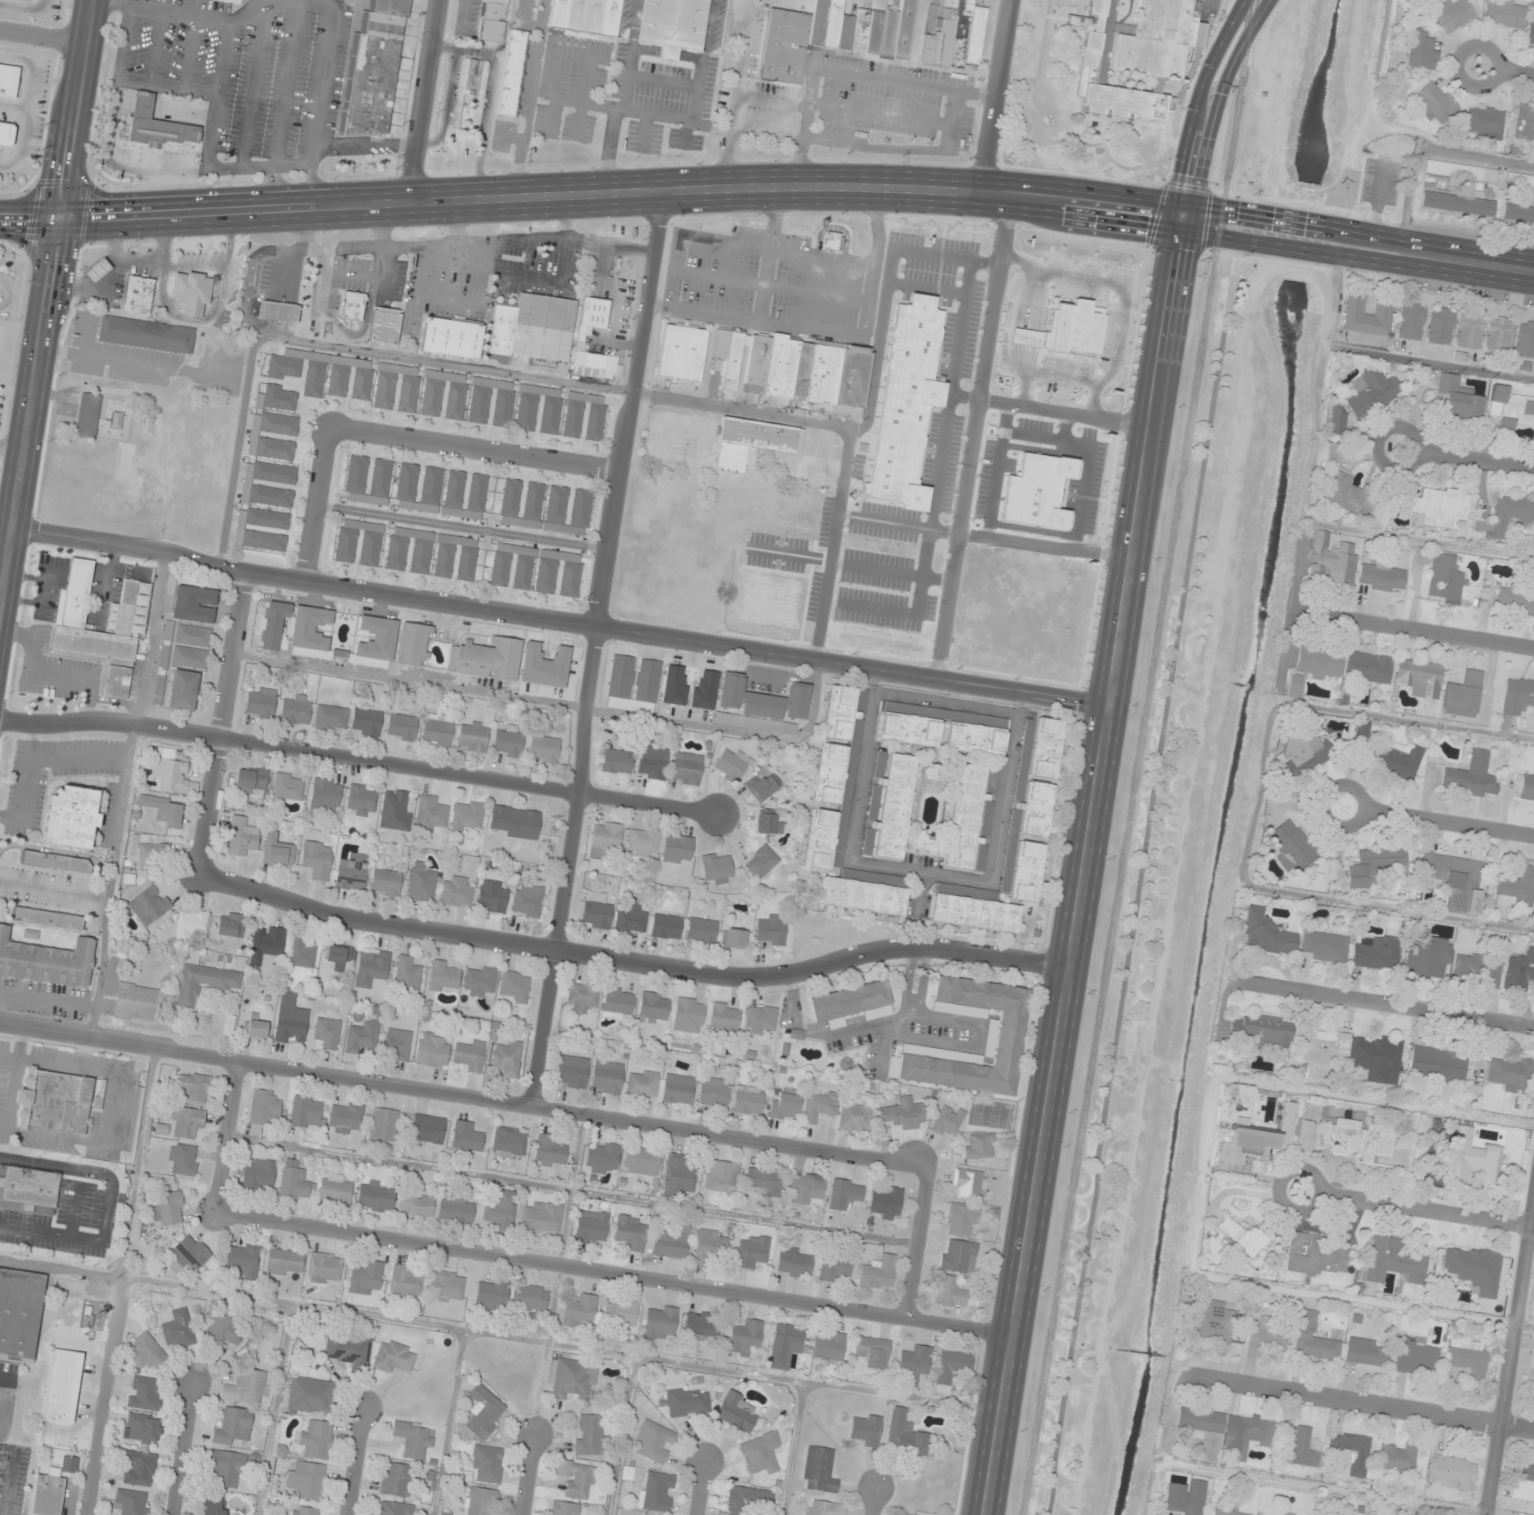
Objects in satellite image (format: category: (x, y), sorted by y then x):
road: (25, 7)
building: (1504, 13)
building: (1453, 14)
building: (586, 16)
building: (492, 21)
building: (674, 26)
building: (973, 32)
building: (1530, 34)
road: (44, 35)
building: (940, 40)
road: (1033, 45)
building: (782, 46)
building: (1422, 51)
building: (1134, 55)
building: (373, 70)
road: (1508, 70)
building: (511, 72)
building: (8, 80)
building: (468, 88)
road: (995, 96)
road: (490, 100)
building: (1435, 102)
road: (426, 103)
road: (444, 103)
road: (14, 105)
road: (28, 105)
building: (1484, 121)
building: (1525, 123)
building: (157, 126)
building: (6, 134)
building: (1461, 171)
building: (1520, 182)
road: (624, 196)
building: (1456, 203)
building: (1517, 213)
traffic signals: (62, 217)
traffic signals: (1182, 217)
road: (1293, 233)
road: (522, 241)
building: (831, 241)
road: (349, 248)
road: (284, 256)
road: (1436, 256)
building: (97, 270)
road: (355, 277)
road: (535, 278)
road: (419, 285)
building: (191, 291)
road: (322, 293)
building: (138, 295)
road: (450, 299)
road: (48, 300)
road: (615, 301)
building: (353, 308)
building: (278, 311)
building: (1367, 320)
building: (1412, 321)
building: (1441, 322)
building: (384, 326)
building: (531, 329)
building: (1470, 330)
building: (146, 334)
building: (1499, 334)
building: (452, 338)
building: (1525, 339)
building: (581, 341)
building: (679, 352)
building: (717, 352)
building: (731, 361)
road: (1430, 361)
building: (756, 363)
building: (774, 364)
building: (788, 368)
building: (801, 371)
building: (821, 373)
building: (324, 374)
building: (849, 378)
building: (397, 388)
building: (1371, 393)
road: (246, 396)
building: (432, 397)
building: (277, 398)
building: (1458, 398)
building: (491, 402)
building: (1511, 408)
building: (538, 409)
building: (88, 415)
building: (584, 416)
building: (1338, 420)
building: (273, 436)
road: (399, 440)
building: (752, 442)
road: (12, 449)
building: (1334, 453)
road: (1459, 457)
building: (271, 473)
building: (368, 480)
building: (418, 488)
building: (454, 492)
building: (1347, 495)
building: (522, 503)
building: (1440, 508)
building: (568, 511)
building: (1506, 517)
road: (463, 527)
building: (262, 529)
building: (370, 545)
building: (409, 551)
building: (455, 558)
building: (1331, 560)
building: (512, 567)
building: (558, 574)
building: (1382, 577)
building: (1446, 579)
building: (1515, 600)
building: (194, 604)
road: (561, 620)
building: (275, 625)
building: (128, 628)
road: (1429, 631)
building: (311, 632)
building: (189, 635)
building: (376, 642)
building: (414, 645)
road: (596, 649)
building: (187, 657)
building: (486, 658)
building: (545, 665)
building: (1368, 667)
building: (1313, 668)
building: (1420, 678)
building: (633, 684)
building: (675, 685)
building: (703, 689)
building: (183, 690)
building: (1464, 694)
building: (1517, 695)
building: (861, 700)
building: (261, 703)
building: (765, 704)
building: (296, 709)
building: (330, 717)
road: (222, 722)
building: (366, 722)
building: (401, 727)
building: (976, 730)
building: (1362, 731)
building: (437, 732)
building: (473, 736)
building: (510, 740)
building: (1046, 748)
building: (543, 749)
road: (1105, 751)
building: (1306, 751)
railway: (1137, 757)
road: (360, 758)
building: (1396, 759)
building: (617, 761)
building: (652, 762)
building: (732, 764)
building: (686, 768)
building: (830, 773)
building: (171, 775)
building: (1472, 776)
building: (250, 779)
building: (762, 784)
building: (1527, 785)
building: (288, 786)
building: (325, 795)
building: (362, 800)
building: (890, 810)
building: (165, 811)
building: (394, 811)
building: (430, 813)
building: (970, 814)
building: (71, 817)
building: (467, 817)
road: (1440, 819)
building: (514, 822)
building: (769, 823)
building: (847, 828)
building: (242, 837)
building: (604, 840)
building: (922, 842)
building: (1019, 842)
building: (642, 843)
building: (1291, 845)
building: (677, 849)
building: (277, 850)
building: (150, 851)
building: (981, 858)
building: (316, 859)
building: (55, 861)
building: (761, 862)
building: (1374, 864)
building: (716, 868)
building: (352, 872)
building: (1456, 880)
building: (386, 882)
building: (421, 882)
road: (1139, 884)
building: (1516, 890)
building: (457, 891)
building: (492, 896)
building: (527, 900)
building: (149, 905)
building: (973, 909)
building: (596, 910)
building: (47, 918)
building: (631, 918)
building: (191, 924)
building: (230, 924)
building: (666, 926)
building: (701, 930)
building: (770, 930)
building: (1267, 934)
building: (733, 938)
building: (266, 943)
building: (1326, 946)
building: (302, 952)
building: (1378, 953)
building: (339, 955)
building: (1428, 957)
building: (46, 961)
road: (632, 962)
building: (371, 967)
building: (1477, 970)
building: (1519, 970)
building: (407, 975)
building: (444, 976)
building: (479, 981)
building: (205, 982)
building: (514, 986)
building: (583, 997)
building: (137, 1002)
building: (617, 1003)
building: (851, 1003)
road: (1390, 1006)
building: (653, 1008)
building: (688, 1015)
building: (291, 1019)
building: (724, 1019)
building: (760, 1020)
building: (228, 1024)
building: (255, 1027)
building: (1264, 1031)
building: (328, 1032)
building: (1005, 1032)
building: (363, 1038)
building: (398, 1043)
building: (435, 1049)
building: (470, 1055)
building: (507, 1057)
building: (1378, 1058)
building: (1438, 1064)
building: (572, 1071)
building: (607, 1076)
building: (1513, 1078)
building: (642, 1083)
building: (193, 1088)
building: (678, 1089)
building: (713, 1092)
road: (463, 1095)
building: (748, 1100)
building: (55, 1101)
building: (785, 1103)
building: (819, 1105)
building: (265, 1107)
building: (306, 1112)
building: (902, 1113)
building: (855, 1116)
building: (345, 1118)
building: (947, 1121)
building: (186, 1122)
building: (383, 1124)
building: (427, 1128)
road: (226, 1137)
building: (466, 1138)
building: (1259, 1138)
building: (1356, 1139)
building: (510, 1142)
building: (979, 1145)
building: (549, 1151)
building: (602, 1158)
building: (182, 1159)
building: (1474, 1160)
building: (641, 1161)
road: (136, 1163)
building: (258, 1174)
building: (678, 1175)
building: (721, 1175)
building: (294, 1181)
building: (764, 1181)
building: (968, 1184)
building: (805, 1188)
building: (28, 1189)
building: (335, 1189)
road: (570, 1189)
road: (572, 1189)
building: (845, 1194)
building: (376, 1196)
building: (885, 1202)
road: (110, 1203)
building: (416, 1204)
building: (169, 1208)
building: (500, 1209)
road: (1418, 1209)
road: (75, 1210)
building: (456, 1210)
building: (541, 1218)
building: (961, 1219)
building: (591, 1227)
building: (631, 1232)
building: (1242, 1236)
building: (672, 1239)
road: (917, 1242)
building: (709, 1244)
building: (751, 1251)
building: (188, 1254)
building: (1313, 1255)
building: (958, 1256)
building: (244, 1261)
building: (1394, 1261)
building: (284, 1262)
building: (794, 1262)
building: (324, 1268)
road: (57, 1269)
building: (834, 1269)
road: (558, 1271)
road: (614, 1273)
building: (879, 1273)
building: (366, 1278)
building: (405, 1281)
building: (447, 1286)
building: (950, 1292)
building: (491, 1294)
building: (530, 1297)
building: (580, 1311)
building: (620, 1312)
building: (20, 1313)
road: (374, 1315)
building: (1214, 1320)
building: (660, 1322)
building: (702, 1323)
building: (178, 1329)
building: (223, 1331)
building: (746, 1337)
building: (1267, 1337)
building: (1314, 1338)
building: (785, 1344)
building: (828, 1346)
building: (347, 1349)
building: (873, 1351)
building: (145, 1352)
building: (1368, 1352)
building: (1419, 1354)
road: (545, 1355)
building: (394, 1356)
building: (1468, 1358)
building: (914, 1364)
building: (953, 1366)
road: (1511, 1374)
building: (571, 1376)
road: (817, 1382)
building: (246, 1386)
building: (144, 1393)
road: (104, 1396)
building: (311, 1396)
building: (687, 1402)
road: (1360, 1404)
road: (275, 1409)
building: (484, 1412)
building: (736, 1412)
road: (448, 1422)
building: (234, 1426)
building: (142, 1428)
building: (865, 1429)
building: (1226, 1429)
building: (904, 1433)
building: (590, 1434)
road: (620, 1435)
building: (317, 1439)
building: (413, 1439)
building: (653, 1441)
building: (1297, 1446)
building: (1349, 1447)
road: (794, 1448)
road: (181, 1449)
building: (760, 1454)
building: (1397, 1458)
road: (356, 1462)
building: (488, 1463)
building: (139, 1467)
building: (226, 1467)
building: (819, 1470)
building: (1452, 1472)
road: (526, 1474)
building: (395, 1478)
building: (577, 1479)
building: (307, 1480)
building: (1524, 1485)
road: (700, 1488)
building: (657, 1491)
building: (48, 1493)
building: (1185, 1498)
building: (748, 1500)
building: (480, 1501)
building: (131, 1502)
road: (874, 1502)
building: (213, 1505)
building: (394, 1508)
building: (564, 1508)
building: (824, 1508)
building: (1229, 1510)
building: (307, 1511)
building: (289, 1514)
building: (903, 1514)
building: (1287, 1514)

